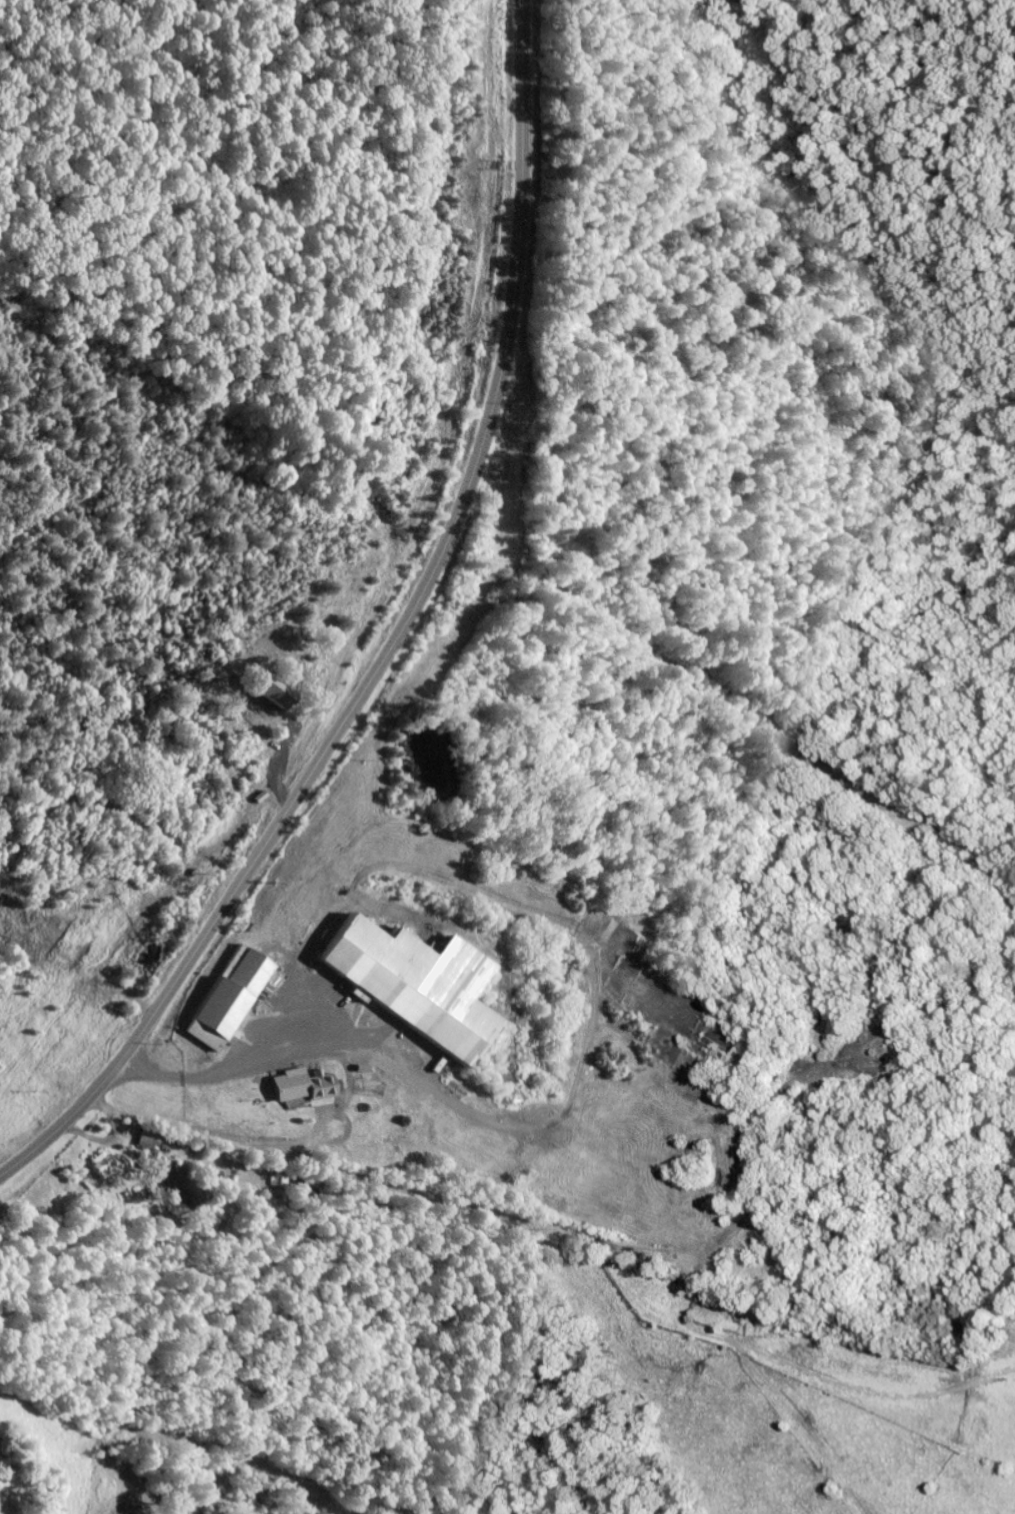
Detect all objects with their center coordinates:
road: (394, 644)
building: (423, 985)
building: (234, 999)
building: (308, 1086)
building: (152, 1141)
building: (110, 1166)
road: (521, 1211)

